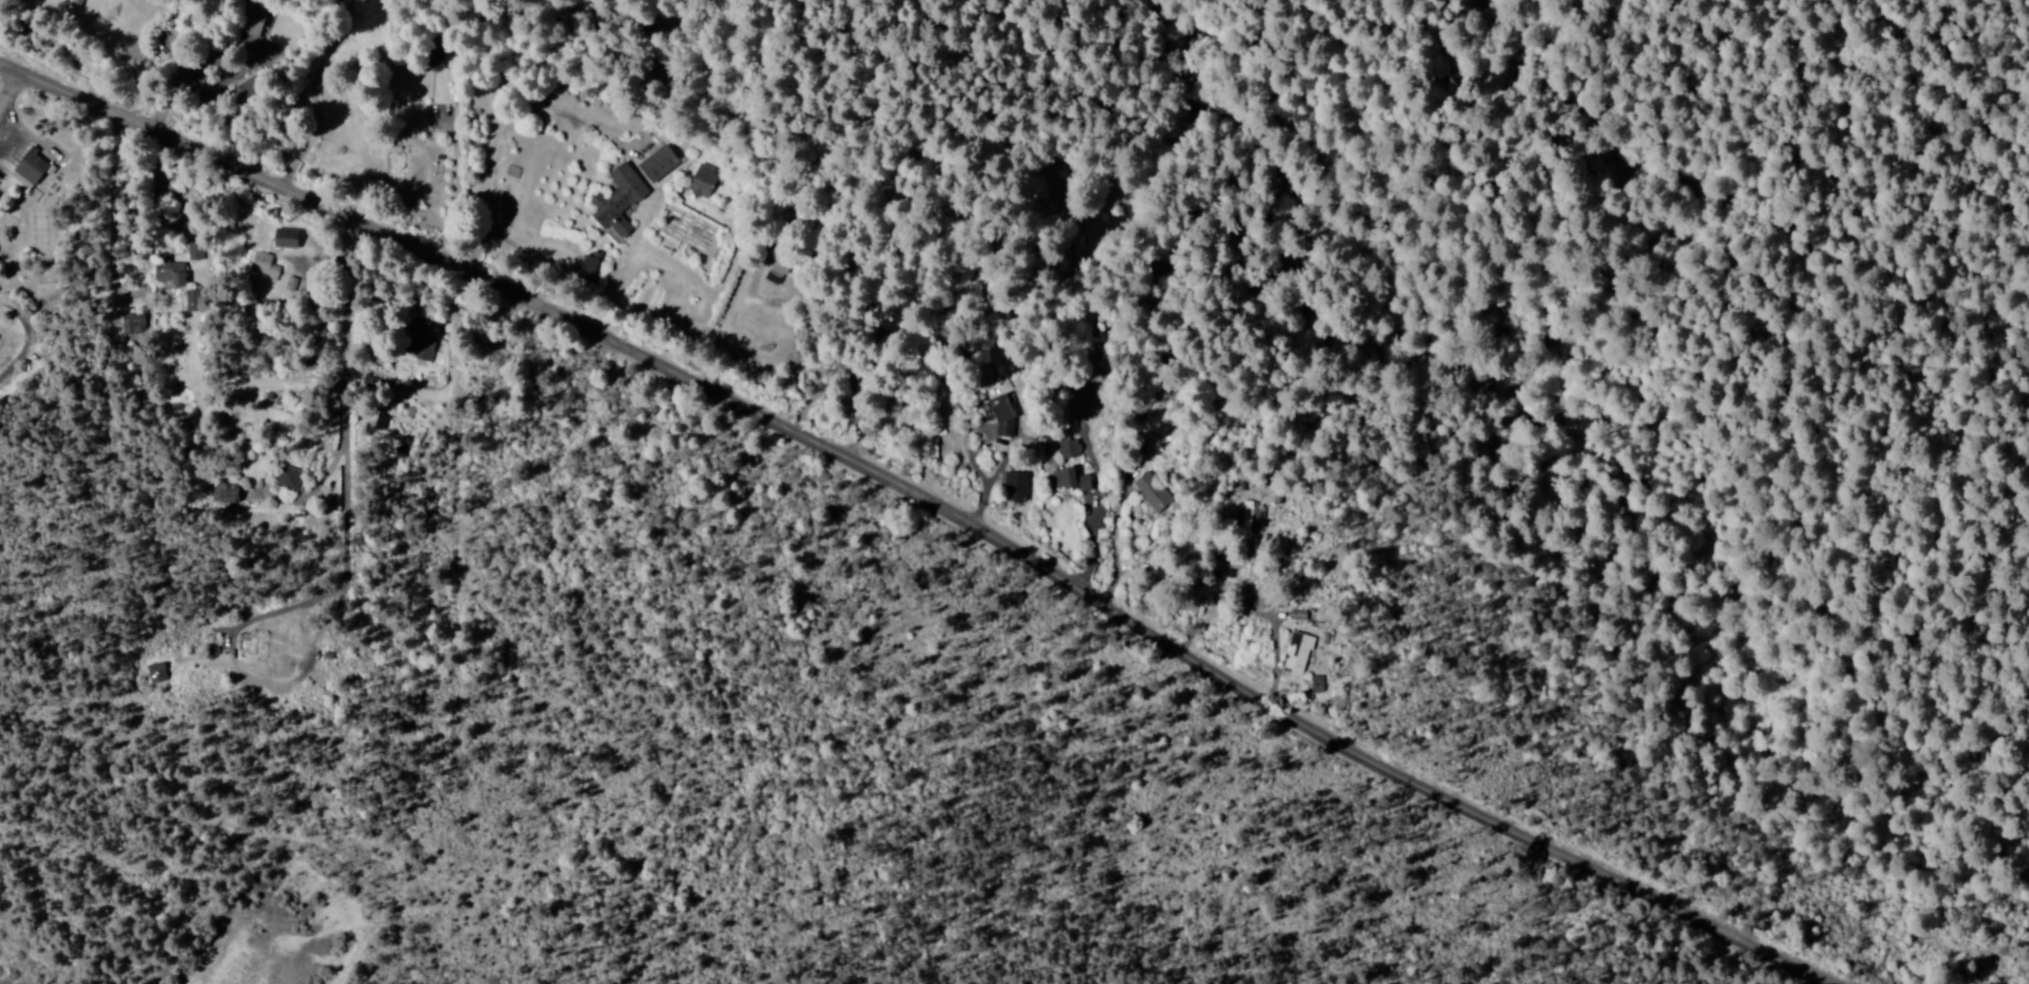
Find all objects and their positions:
building: (75, 3)
road: (10, 86)
building: (248, 88)
road: (366, 103)
building: (660, 162)
building: (28, 171)
building: (703, 181)
building: (619, 199)
building: (195, 250)
building: (264, 264)
building: (591, 265)
building: (775, 271)
building: (172, 272)
building: (193, 299)
building: (133, 323)
building: (427, 347)
building: (1000, 413)
building: (1030, 436)
building: (1069, 447)
building: (289, 477)
building: (1071, 479)
building: (1017, 486)
building: (1152, 492)
road: (924, 505)
building: (1298, 614)
building: (1298, 653)
building: (157, 672)
building: (1317, 683)

